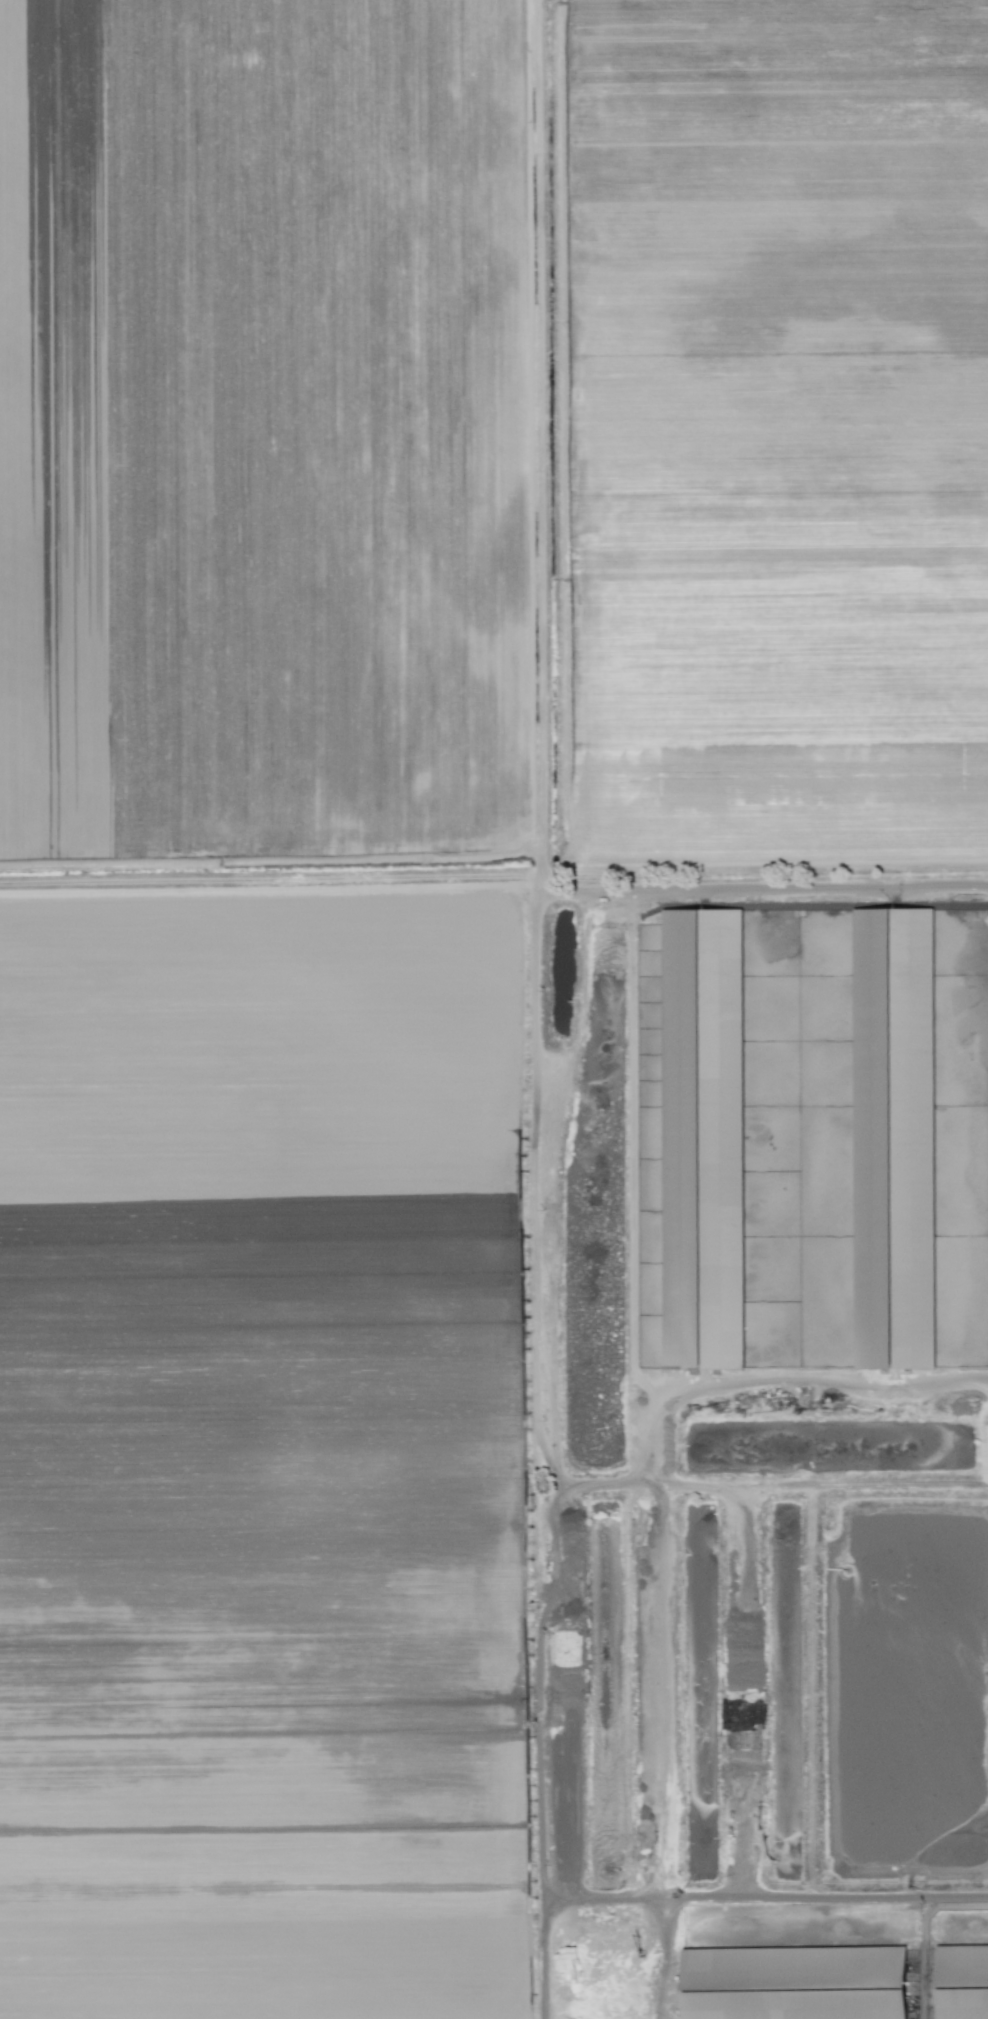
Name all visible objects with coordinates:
building: (703, 1140)
road: (597, 1482)
road: (704, 1897)
road: (664, 1958)
building: (961, 1982)
building: (794, 1983)

